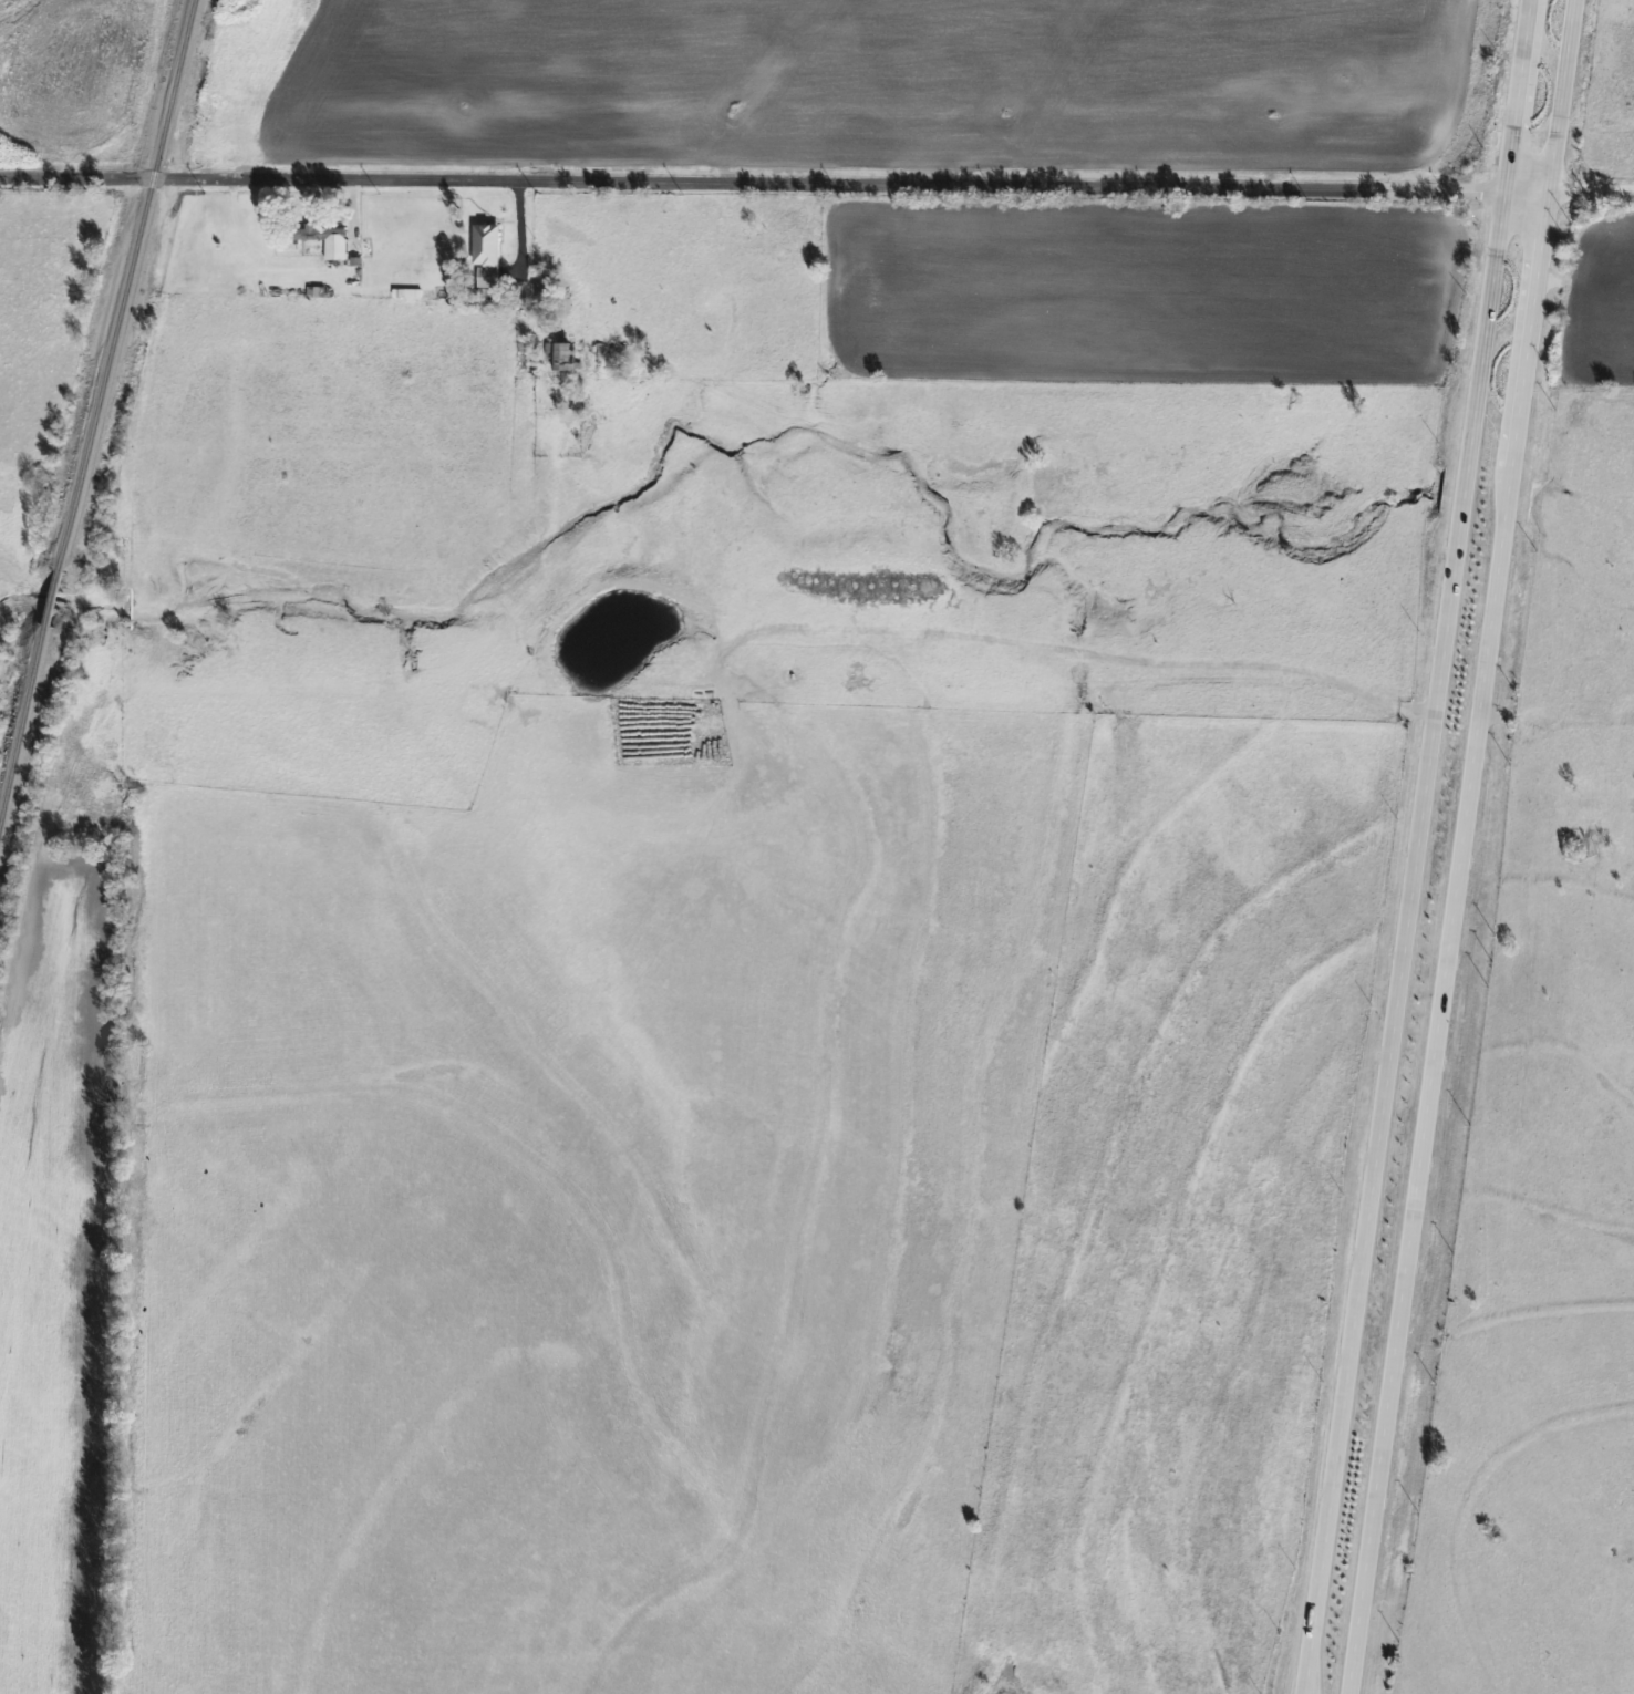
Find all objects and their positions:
road: (772, 188)
road: (1589, 197)
building: (322, 236)
building: (485, 255)
building: (539, 282)
railway: (128, 285)
building: (525, 355)
building: (562, 355)
building: (610, 355)
railway: (54, 598)
railway: (24, 727)
road: (1411, 847)
road: (1457, 847)

